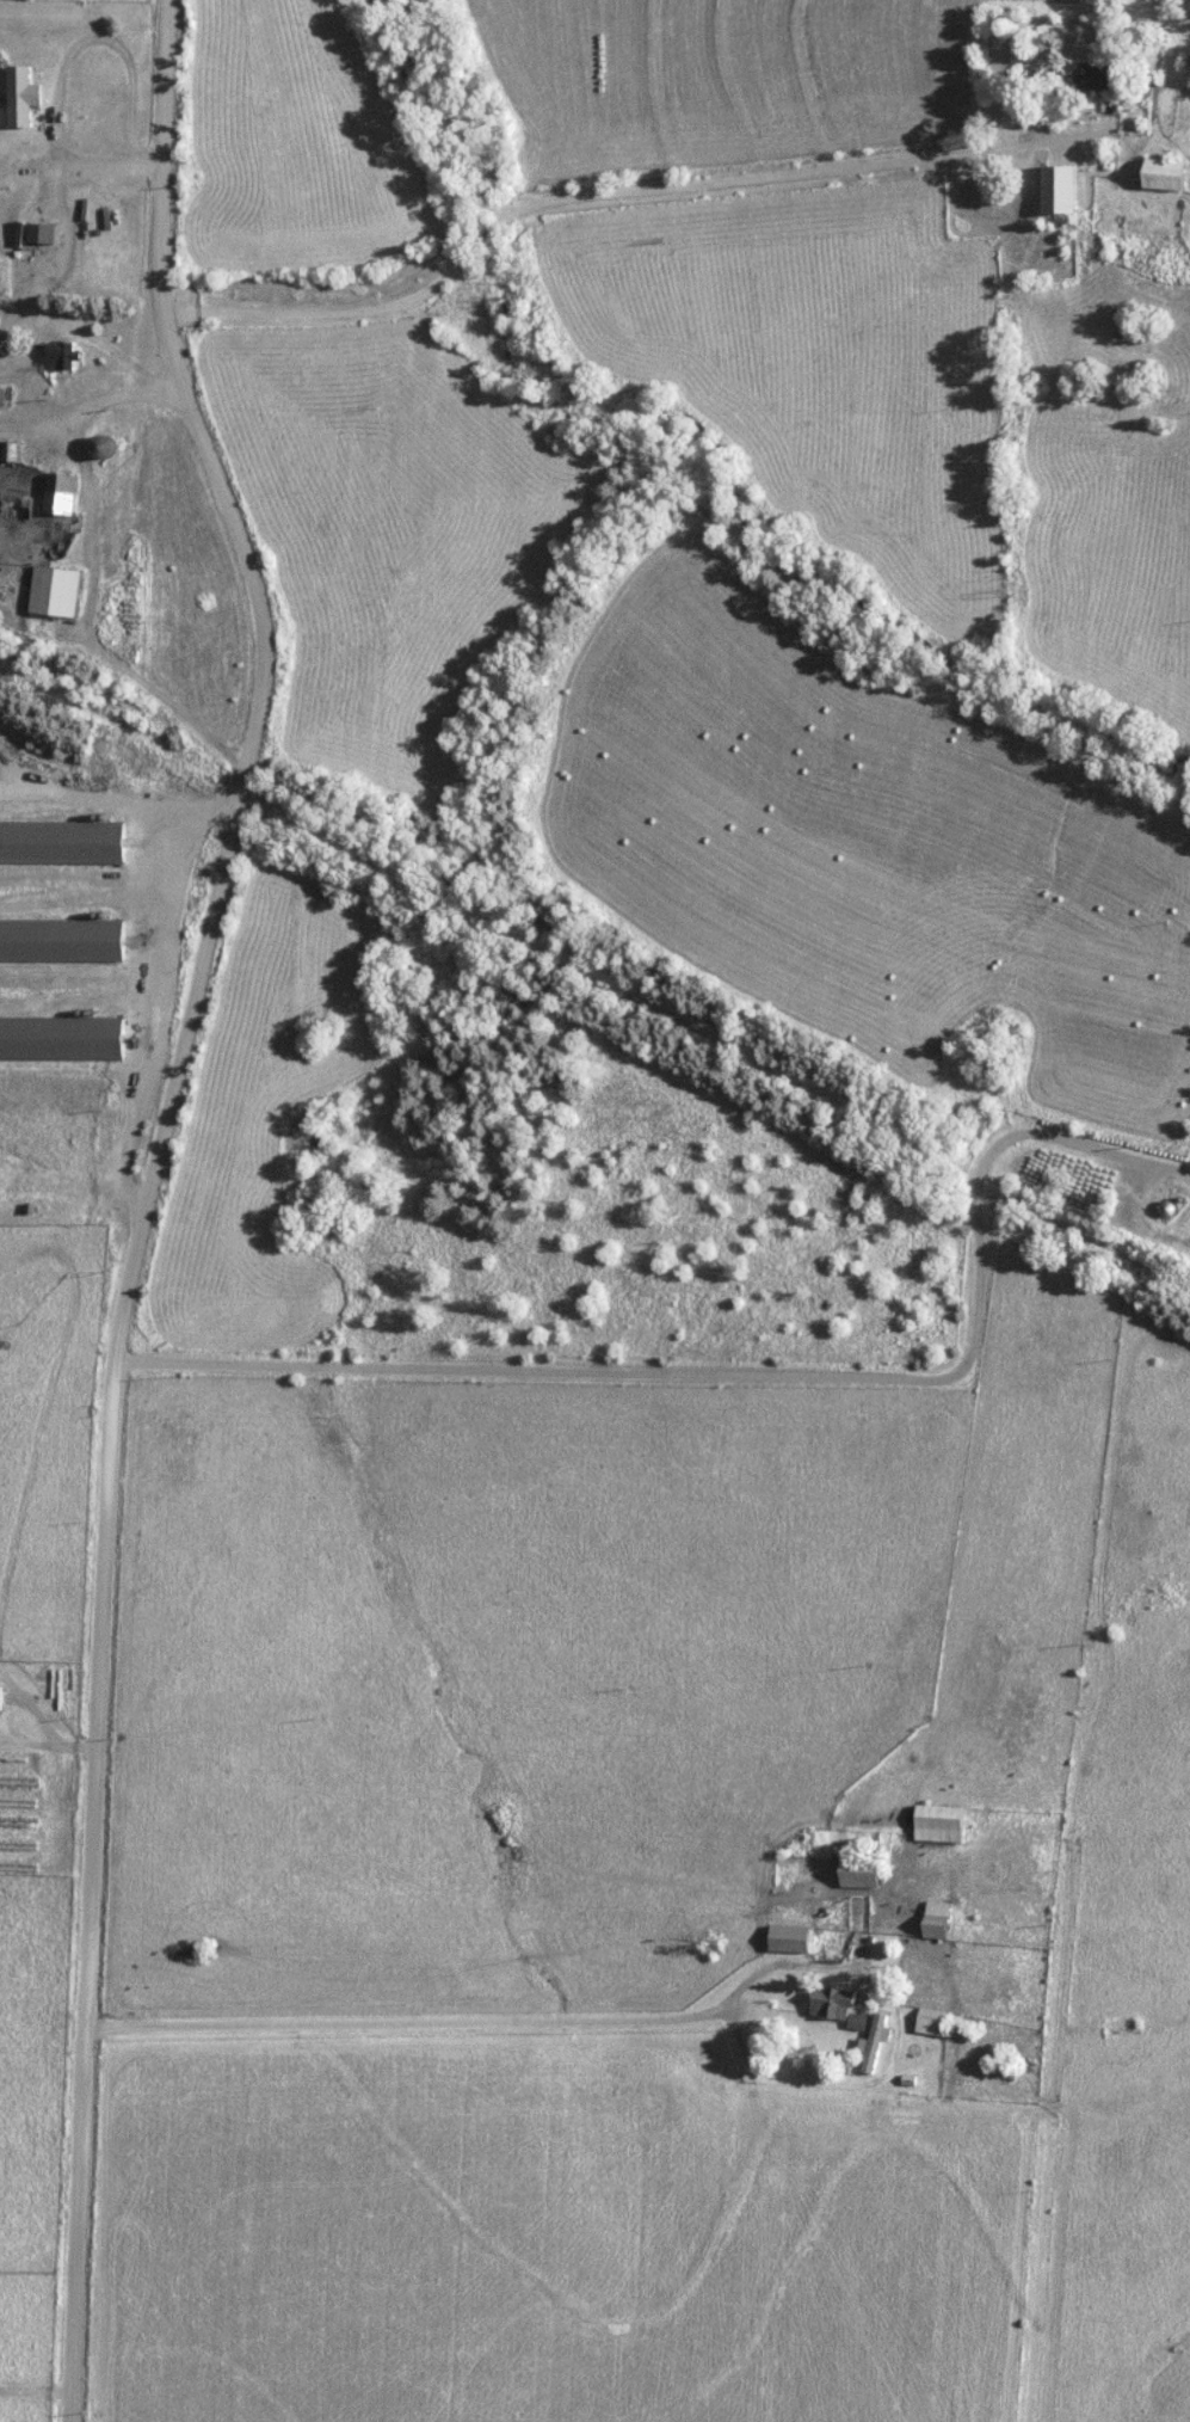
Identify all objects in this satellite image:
building: (1092, 78)
building: (17, 96)
building: (1161, 174)
road: (702, 184)
building: (1056, 189)
building: (39, 233)
building: (60, 356)
building: (0, 397)
building: (99, 448)
building: (8, 451)
building: (60, 494)
building: (16, 506)
road: (91, 579)
building: (54, 592)
building: (60, 842)
building: (60, 940)
building: (60, 1038)
road: (142, 1197)
building: (1164, 1207)
road: (756, 1376)
building: (628, 1641)
building: (0, 1695)
building: (676, 1748)
building: (937, 1822)
building: (857, 1871)
building: (935, 1919)
building: (787, 1938)
building: (833, 2006)
road: (498, 2020)
building: (930, 2023)
building: (873, 2042)

